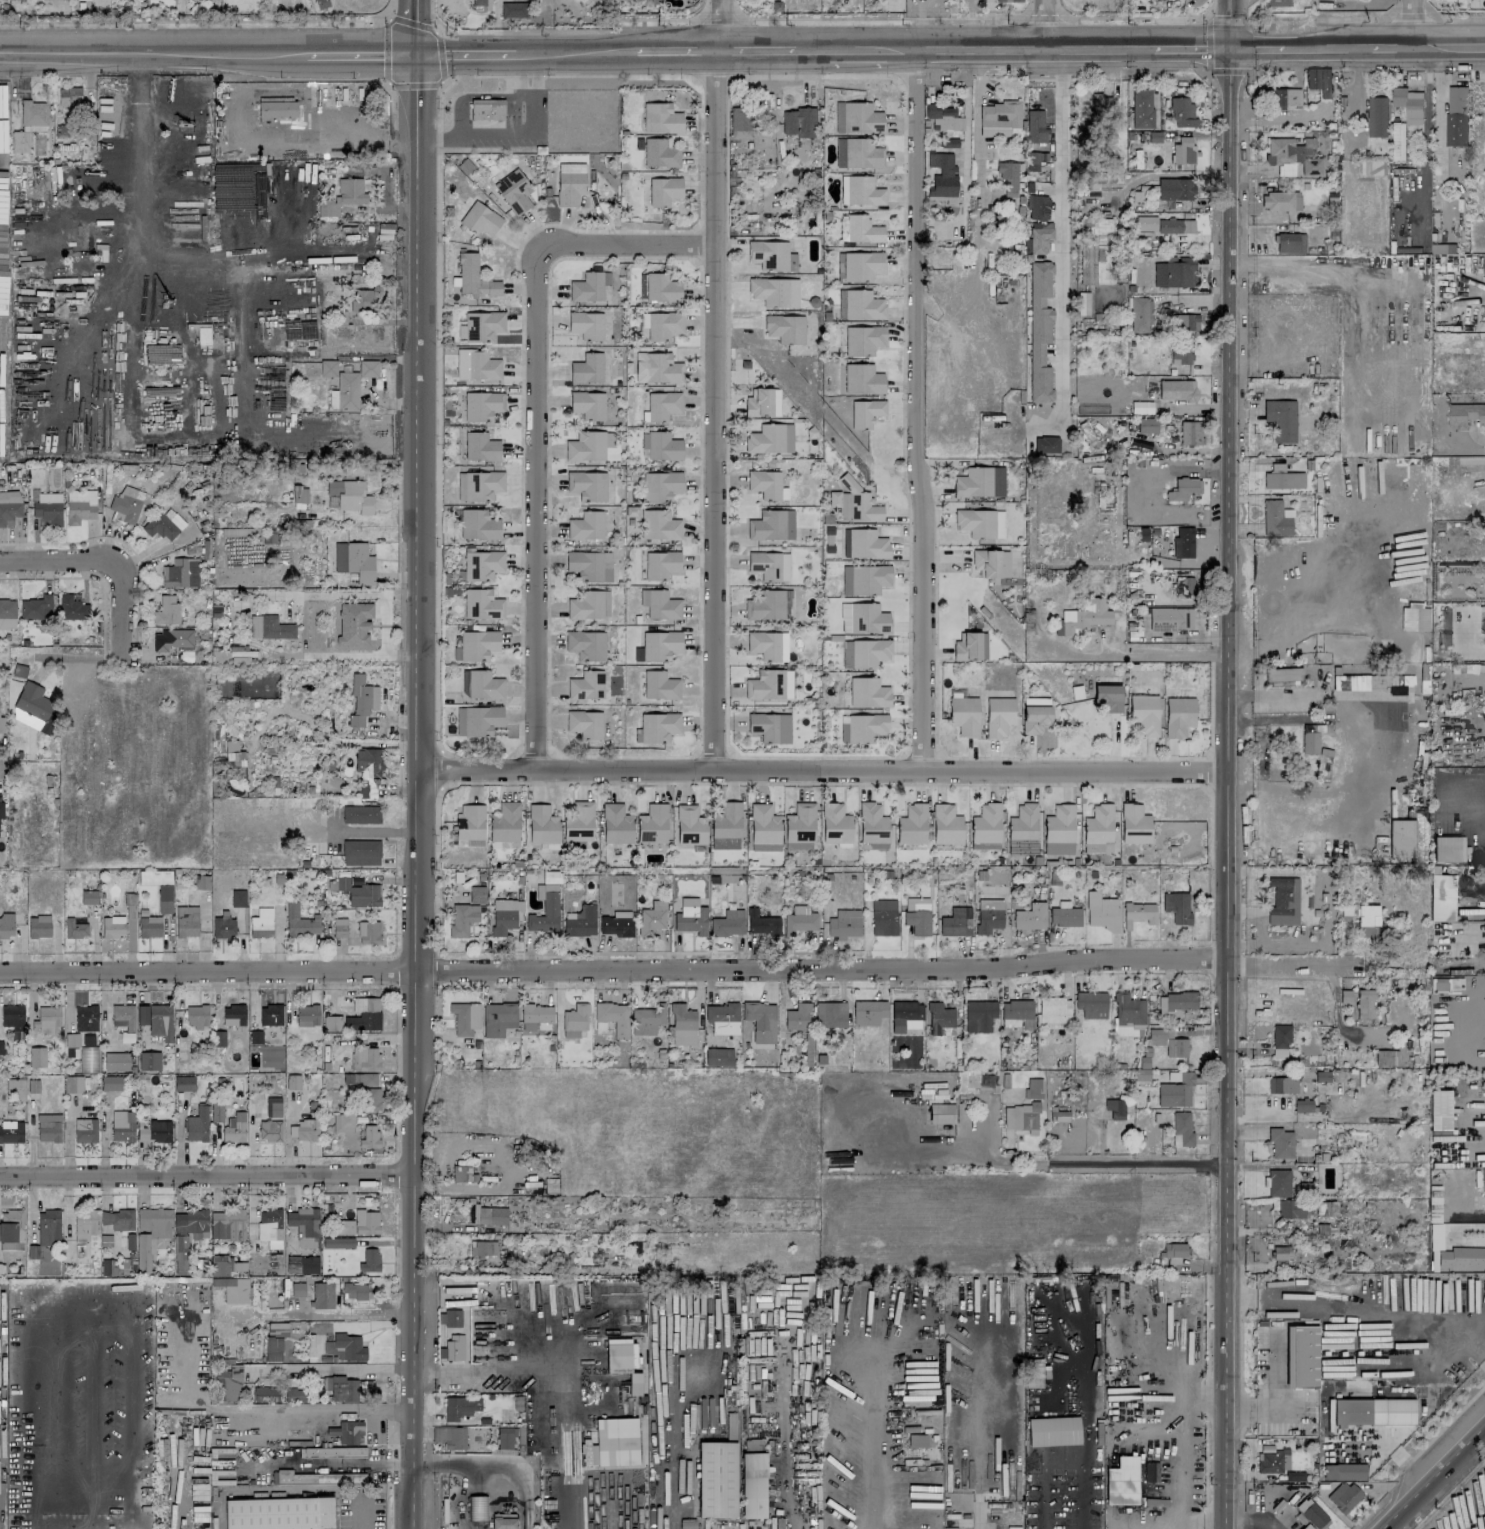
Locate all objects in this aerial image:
building: (1009, 0)
building: (1277, 2)
building: (481, 3)
building: (512, 9)
road: (495, 13)
road: (200, 19)
road: (1046, 22)
road: (1415, 22)
road: (496, 39)
road: (1189, 43)
road: (1255, 43)
road: (1327, 43)
road: (1393, 44)
road: (1450, 44)
road: (1034, 45)
road: (871, 46)
road: (756, 47)
road: (810, 47)
road: (677, 48)
road: (575, 50)
road: (151, 52)
road: (465, 52)
road: (359, 53)
building: (1319, 80)
road: (529, 85)
road: (465, 96)
building: (69, 97)
building: (1286, 98)
building: (1100, 103)
building: (1408, 104)
building: (276, 109)
building: (487, 109)
building: (1141, 109)
building: (1182, 112)
building: (31, 114)
building: (1377, 116)
building: (1456, 116)
building: (661, 118)
building: (857, 118)
building: (944, 118)
building: (799, 122)
building: (741, 123)
road: (970, 124)
building: (1035, 126)
road: (438, 139)
building: (1397, 141)
building: (949, 142)
building: (1184, 150)
building: (660, 153)
building: (858, 153)
building: (1292, 156)
building: (934, 159)
building: (1034, 160)
road: (1164, 174)
building: (76, 175)
building: (1008, 177)
building: (1104, 180)
building: (570, 183)
building: (943, 188)
building: (1175, 189)
building: (664, 190)
building: (514, 191)
building: (861, 191)
building: (343, 196)
building: (1280, 201)
building: (1038, 206)
building: (1393, 216)
building: (481, 219)
building: (1164, 225)
building: (862, 229)
road: (1062, 233)
building: (1040, 237)
building: (1290, 243)
road: (616, 244)
building: (1101, 247)
building: (1438, 248)
building: (772, 255)
building: (861, 265)
building: (1483, 265)
building: (349, 271)
building: (1179, 271)
building: (474, 276)
building: (642, 285)
building: (589, 286)
building: (661, 288)
building: (774, 291)
building: (362, 300)
building: (1083, 303)
building: (1140, 315)
building: (1186, 322)
building: (341, 324)
building: (664, 324)
building: (586, 325)
building: (479, 326)
building: (785, 328)
building: (1039, 330)
building: (864, 339)
building: (1180, 354)
building: (476, 365)
building: (368, 368)
building: (587, 368)
building: (657, 368)
building: (863, 379)
road: (716, 384)
building: (341, 386)
building: (1177, 390)
building: (759, 402)
building: (588, 404)
building: (482, 405)
building: (662, 405)
road: (916, 407)
building: (1141, 407)
building: (866, 412)
building: (1465, 415)
building: (1280, 419)
building: (1146, 425)
building: (1190, 433)
building: (770, 438)
building: (1046, 444)
building: (588, 445)
building: (663, 446)
building: (481, 447)
building: (1282, 478)
building: (981, 481)
building: (765, 483)
building: (482, 485)
building: (587, 485)
building: (660, 485)
building: (1182, 489)
building: (350, 495)
building: (833, 498)
building: (860, 503)
building: (126, 504)
building: (80, 505)
building: (9, 507)
building: (47, 508)
building: (1275, 519)
road: (536, 522)
building: (980, 523)
building: (164, 524)
building: (478, 524)
building: (586, 525)
building: (659, 525)
building: (771, 525)
building: (1183, 543)
building: (867, 544)
road: (48, 559)
building: (354, 561)
building: (986, 562)
building: (482, 564)
building: (661, 564)
building: (589, 565)
building: (769, 565)
building: (180, 573)
building: (865, 579)
building: (1184, 585)
road: (359, 594)
road: (122, 598)
building: (482, 604)
building: (660, 604)
building: (589, 605)
building: (769, 605)
building: (36, 607)
building: (72, 607)
building: (7, 608)
building: (166, 610)
building: (1085, 616)
building: (864, 618)
building: (1170, 619)
building: (351, 623)
road: (232, 624)
road: (385, 624)
road: (301, 625)
building: (269, 627)
building: (171, 639)
building: (478, 644)
building: (586, 644)
building: (660, 644)
building: (767, 645)
building: (967, 646)
building: (864, 652)
road: (1166, 653)
road: (359, 654)
building: (241, 656)
building: (1283, 673)
building: (484, 685)
building: (586, 685)
building: (660, 685)
building: (770, 685)
building: (1396, 689)
building: (868, 693)
building: (1107, 697)
building: (361, 700)
building: (33, 708)
building: (1034, 714)
building: (1144, 714)
building: (965, 715)
building: (999, 716)
building: (1178, 716)
building: (478, 720)
road: (1239, 721)
building: (585, 723)
building: (1, 724)
building: (658, 726)
building: (770, 727)
building: (862, 727)
building: (1309, 738)
road: (1361, 752)
building: (232, 754)
building: (368, 763)
road: (417, 764)
road: (1227, 764)
road: (3, 765)
road: (821, 768)
road: (1239, 784)
building: (1, 809)
building: (360, 814)
building: (1023, 822)
building: (800, 823)
building: (873, 823)
building: (469, 824)
building: (577, 824)
building: (616, 824)
building: (652, 824)
building: (835, 824)
building: (912, 824)
building: (946, 824)
building: (1134, 824)
building: (689, 825)
building: (504, 826)
building: (726, 826)
building: (543, 827)
building: (763, 827)
building: (985, 827)
building: (1097, 828)
building: (1059, 830)
road: (372, 833)
building: (1401, 838)
building: (798, 846)
building: (1447, 848)
building: (361, 852)
building: (358, 893)
building: (477, 894)
building: (88, 896)
building: (1441, 896)
building: (164, 898)
building: (238, 898)
building: (1283, 902)
building: (1177, 906)
building: (545, 908)
building: (1101, 911)
building: (1138, 913)
building: (504, 915)
building: (989, 915)
building: (1064, 915)
building: (883, 917)
building: (1030, 917)
building: (918, 918)
building: (462, 919)
building: (691, 919)
building: (799, 919)
building: (186, 921)
building: (300, 921)
building: (580, 921)
building: (650, 921)
building: (956, 921)
building: (1367, 921)
building: (115, 923)
building: (261, 923)
building: (616, 923)
building: (728, 923)
building: (762, 923)
building: (844, 923)
building: (6, 925)
building: (39, 926)
building: (149, 926)
building: (223, 926)
building: (339, 927)
building: (74, 928)
building: (368, 933)
road: (682, 963)
building: (1447, 983)
building: (1175, 1003)
building: (1091, 1004)
building: (1364, 1004)
building: (1054, 1010)
building: (1129, 1011)
building: (869, 1012)
building: (832, 1013)
building: (1016, 1013)
building: (270, 1014)
building: (906, 1014)
building: (233, 1015)
building: (307, 1015)
building: (363, 1015)
building: (979, 1015)
building: (123, 1016)
building: (196, 1016)
building: (465, 1017)
building: (611, 1017)
building: (722, 1017)
building: (797, 1017)
building: (939, 1017)
building: (86, 1018)
building: (498, 1018)
building: (13, 1019)
building: (46, 1019)
building: (535, 1019)
building: (646, 1019)
building: (574, 1020)
building: (160, 1021)
building: (760, 1021)
building: (332, 1022)
building: (682, 1025)
building: (218, 1038)
building: (1282, 1039)
building: (1168, 1042)
building: (0, 1047)
building: (37, 1056)
building: (718, 1056)
building: (365, 1057)
building: (1383, 1057)
building: (89, 1059)
building: (149, 1060)
building: (116, 1061)
building: (1141, 1074)
building: (110, 1082)
building: (183, 1082)
building: (292, 1082)
building: (72, 1083)
building: (1282, 1085)
building: (1033, 1088)
building: (15, 1089)
building: (1176, 1091)
building: (369, 1098)
building: (1302, 1105)
building: (1439, 1105)
building: (1114, 1109)
building: (216, 1111)
building: (940, 1113)
building: (1022, 1118)
building: (345, 1120)
building: (196, 1125)
building: (121, 1126)
building: (48, 1127)
building: (233, 1127)
building: (152, 1129)
building: (1181, 1129)
building: (85, 1130)
building: (269, 1130)
building: (304, 1130)
building: (11, 1131)
road: (287, 1132)
building: (369, 1136)
building: (1280, 1142)
road: (1027, 1162)
road: (287, 1164)
building: (461, 1173)
road: (208, 1174)
building: (1278, 1183)
building: (1290, 1209)
building: (490, 1215)
building: (116, 1220)
building: (359, 1223)
building: (84, 1224)
building: (227, 1224)
building: (48, 1226)
building: (304, 1226)
road: (1464, 1226)
building: (268, 1227)
building: (150, 1234)
building: (187, 1234)
building: (337, 1242)
building: (483, 1247)
building: (1174, 1252)
building: (1280, 1255)
building: (1462, 1258)
building: (369, 1260)
building: (301, 1264)
building: (220, 1265)
building: (298, 1289)
building: (235, 1290)
building: (357, 1291)
building: (322, 1295)
road: (1330, 1300)
road: (127, 1305)
road: (319, 1312)
building: (450, 1318)
road: (1465, 1324)
building: (277, 1328)
road: (477, 1338)
building: (345, 1347)
building: (453, 1347)
building: (273, 1348)
building: (620, 1353)
building: (1301, 1356)
road: (333, 1367)
building: (1033, 1373)
road: (511, 1375)
building: (634, 1383)
building: (232, 1384)
building: (218, 1386)
building: (341, 1389)
building: (265, 1394)
building: (296, 1395)
road: (257, 1405)
building: (460, 1406)
building: (1373, 1411)
road: (780, 1427)
building: (349, 1431)
building: (1053, 1431)
road: (826, 1434)
building: (450, 1437)
building: (505, 1437)
building: (917, 1440)
building: (612, 1443)
road: (679, 1446)
building: (333, 1451)
road: (1063, 1457)
building: (1273, 1460)
road: (495, 1465)
building: (1150, 1471)
building: (1343, 1472)
road: (1431, 1476)
building: (317, 1477)
building: (716, 1479)
building: (1122, 1481)
building: (753, 1484)
road: (1046, 1493)
road: (1081, 1493)
building: (1343, 1496)
road: (458, 1497)
building: (476, 1507)
road: (30, 1512)
building: (279, 1513)
building: (1312, 1514)
road: (977, 1519)
building: (503, 1523)
building: (1306, 1527)

